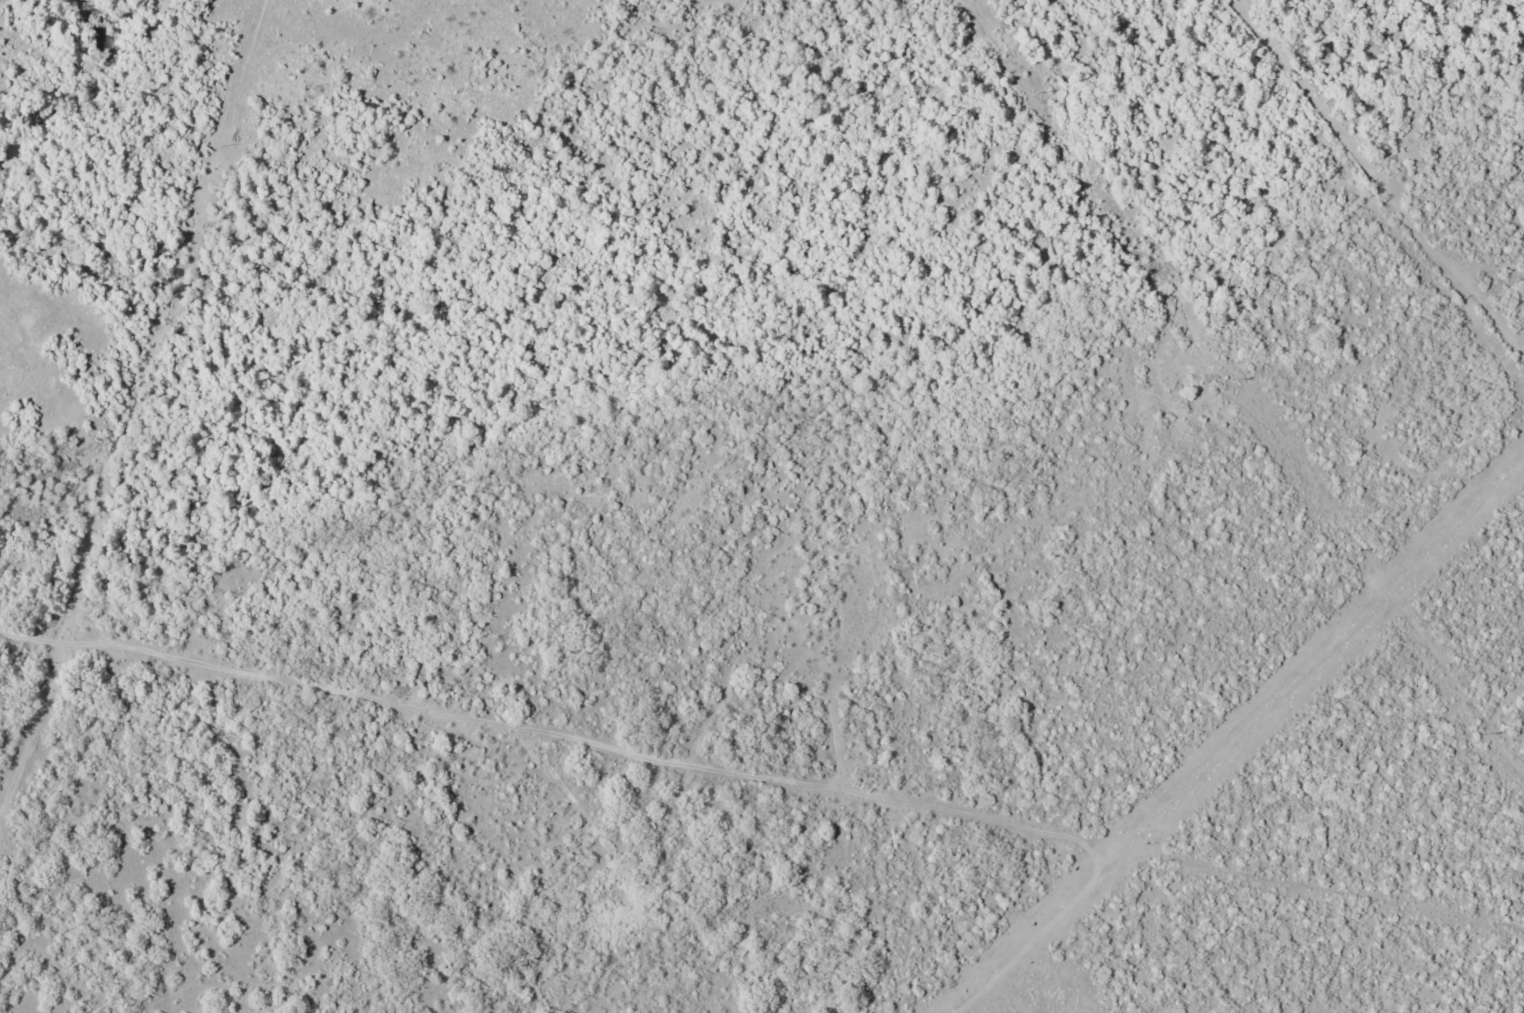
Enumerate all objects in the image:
road: (1038, 939)

